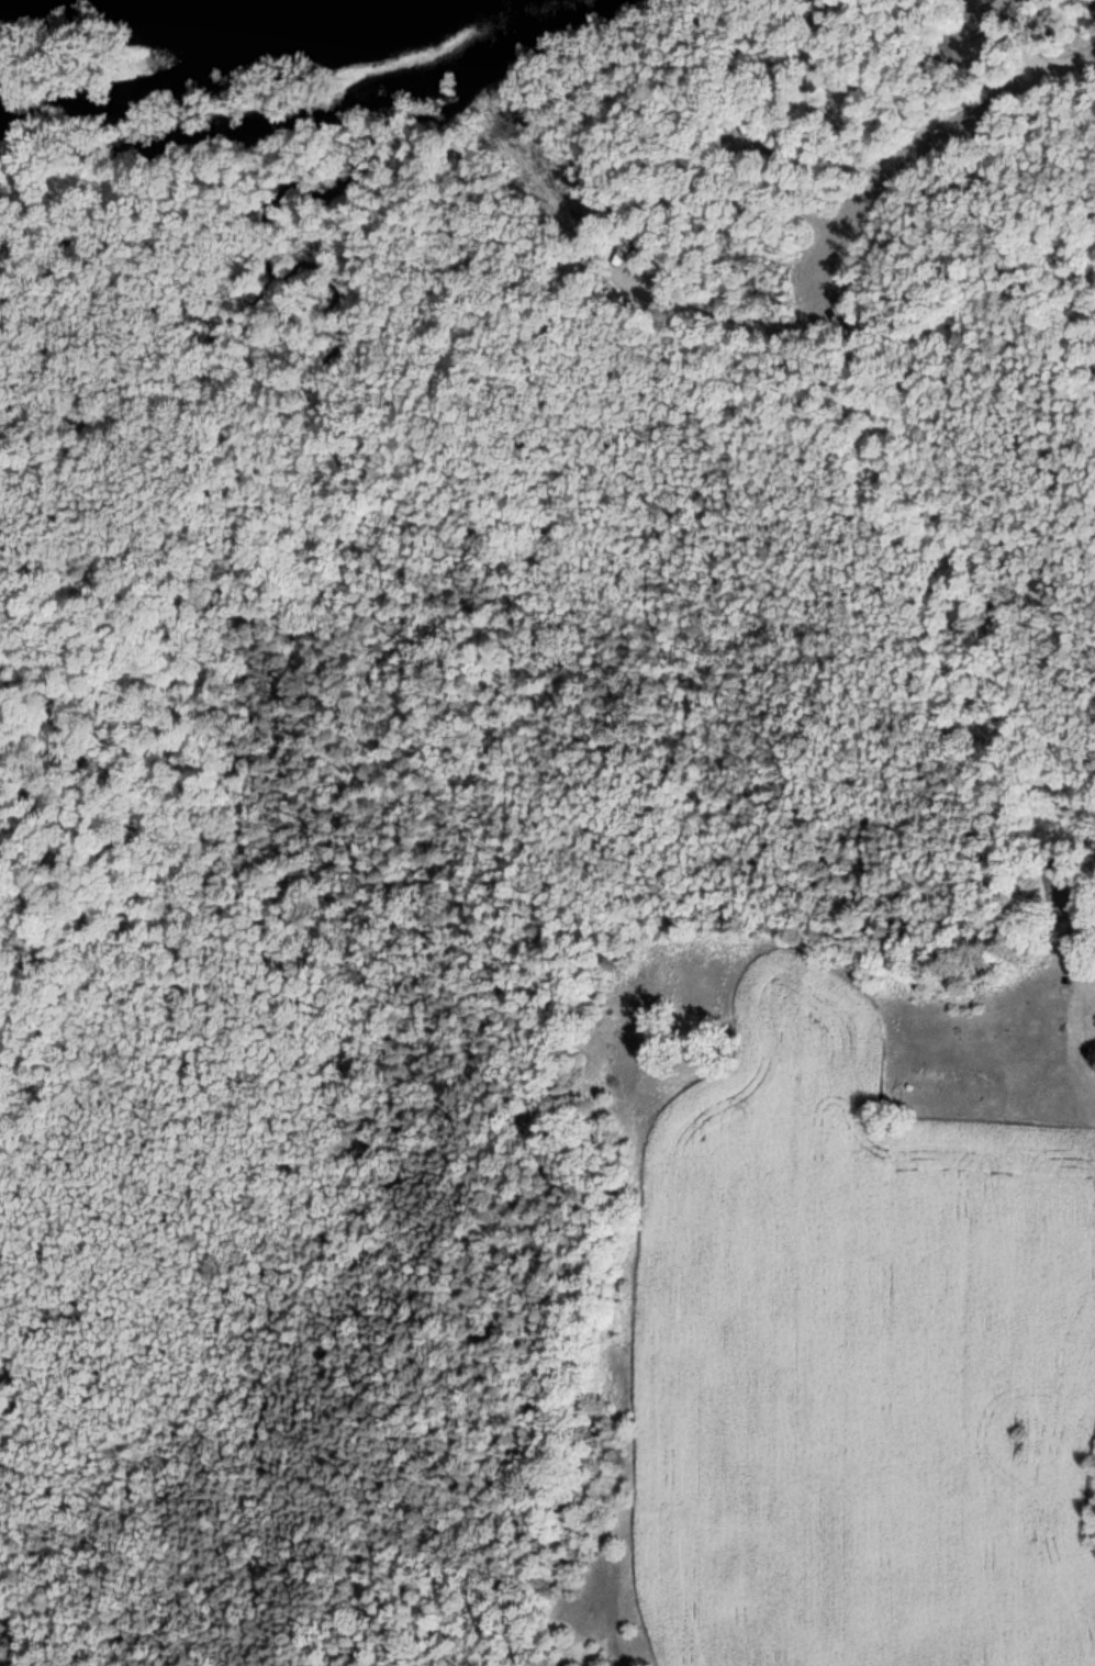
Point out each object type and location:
road: (937, 134)

